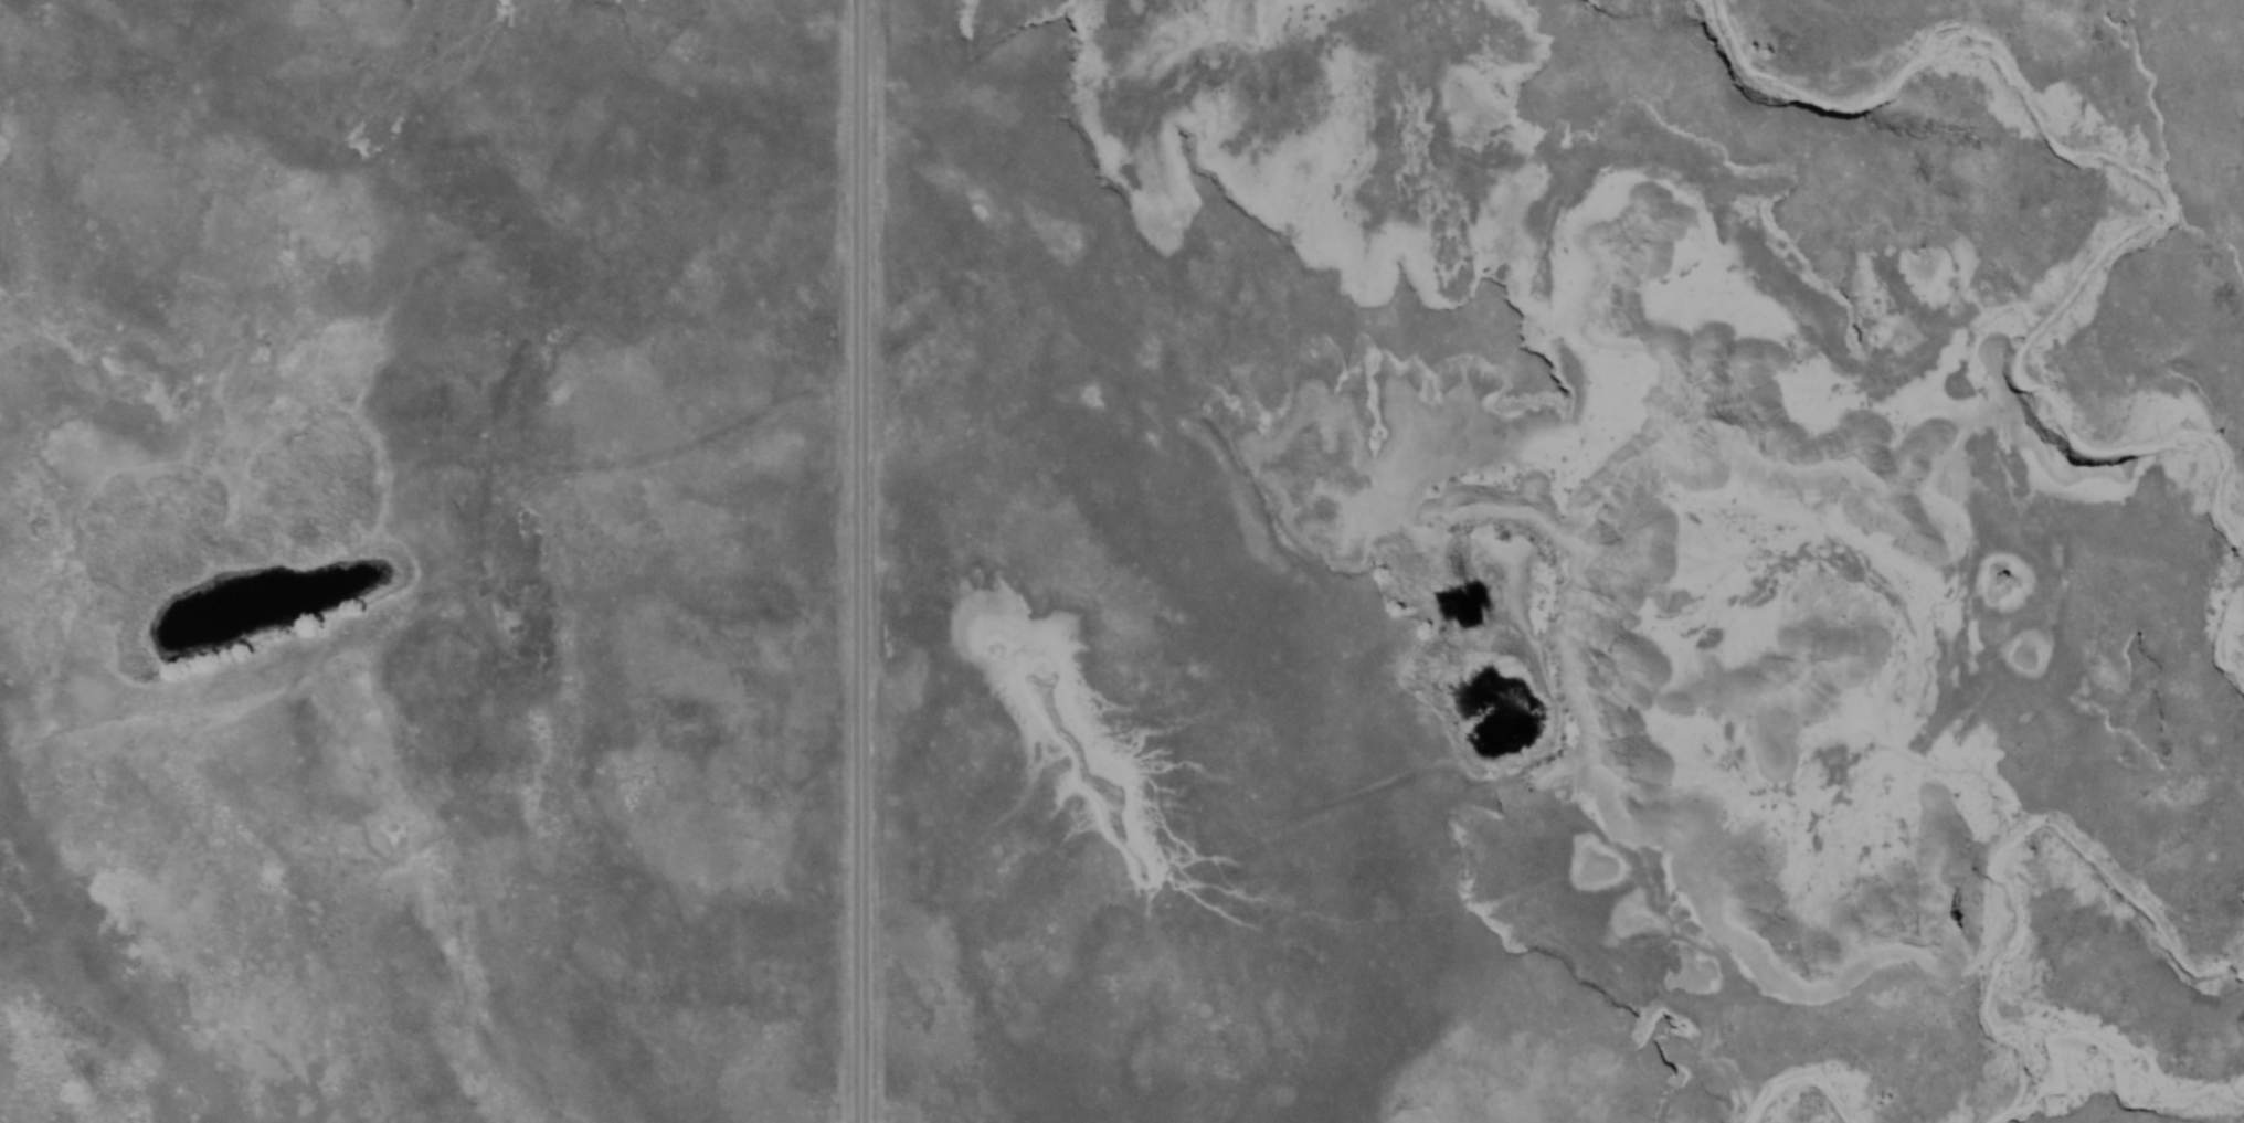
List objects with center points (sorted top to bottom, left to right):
road: (858, 561)
road: (428, 578)

